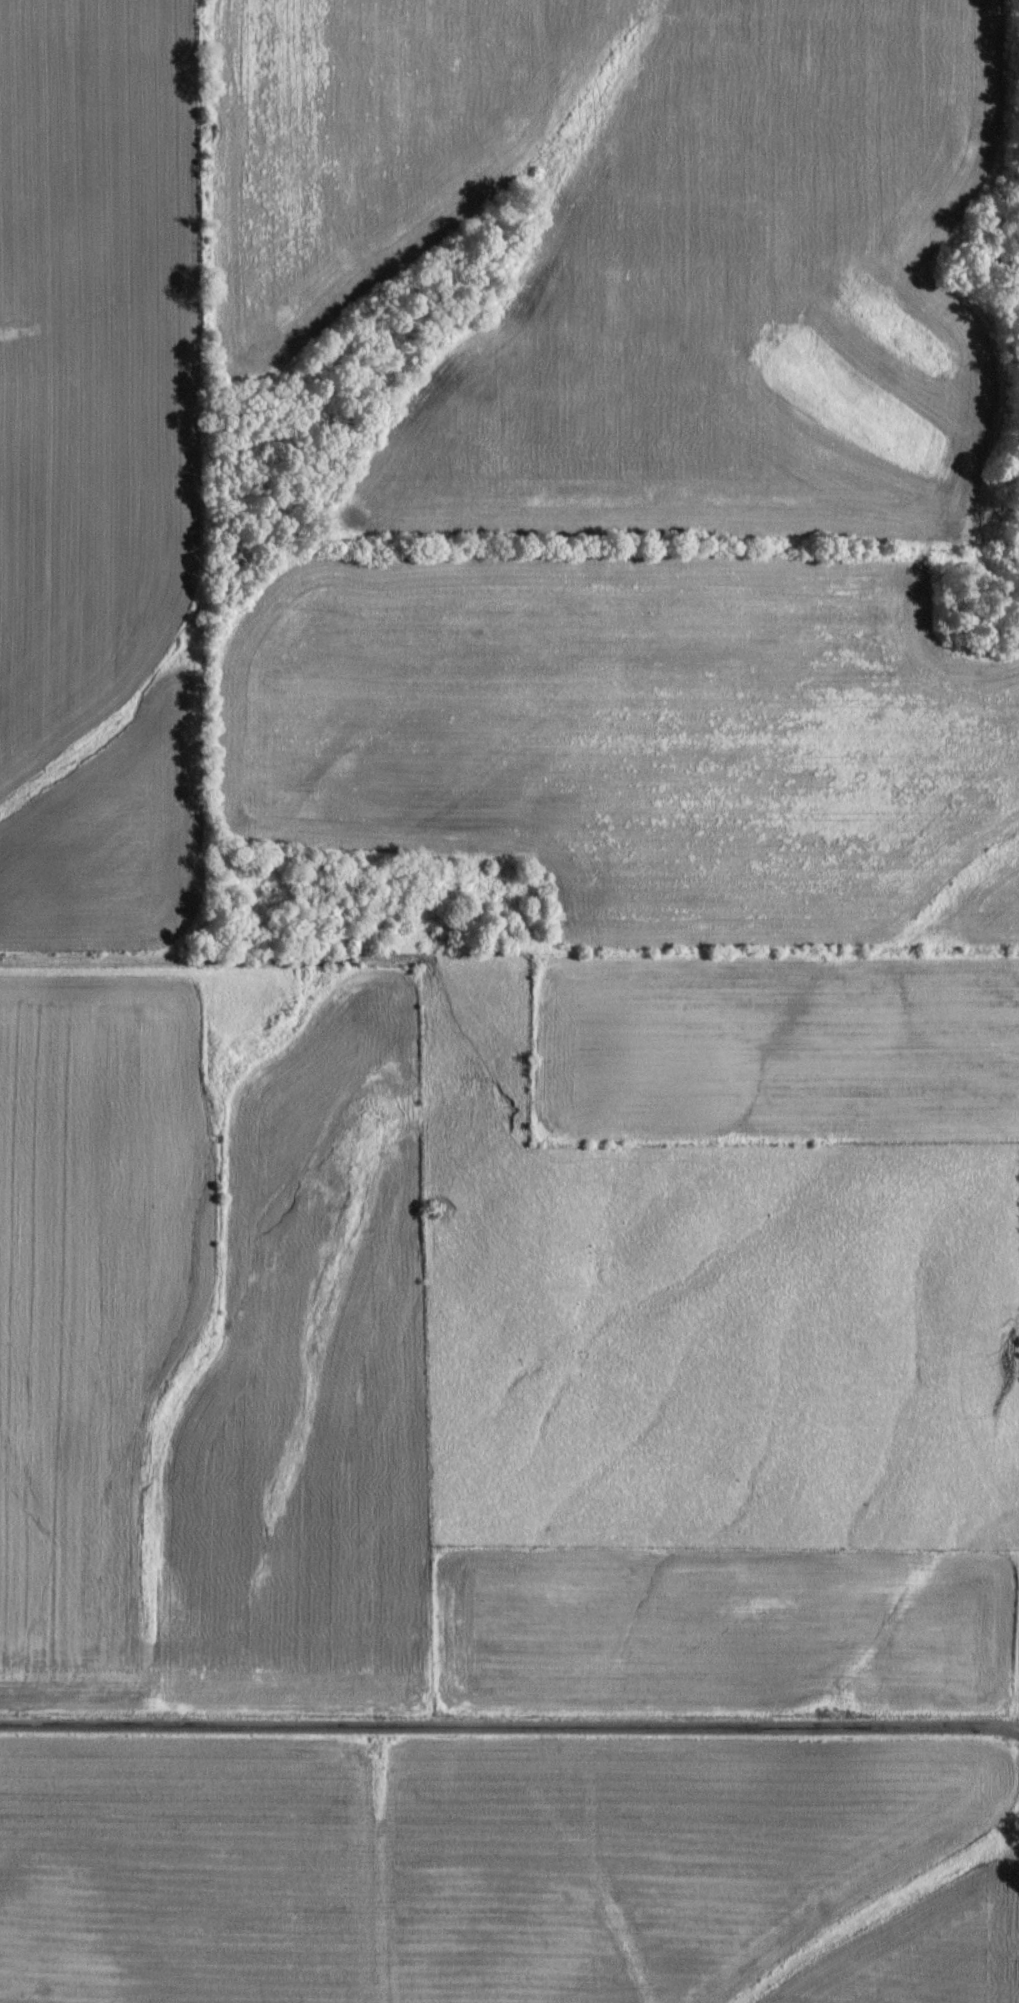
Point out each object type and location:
road: (510, 1716)

